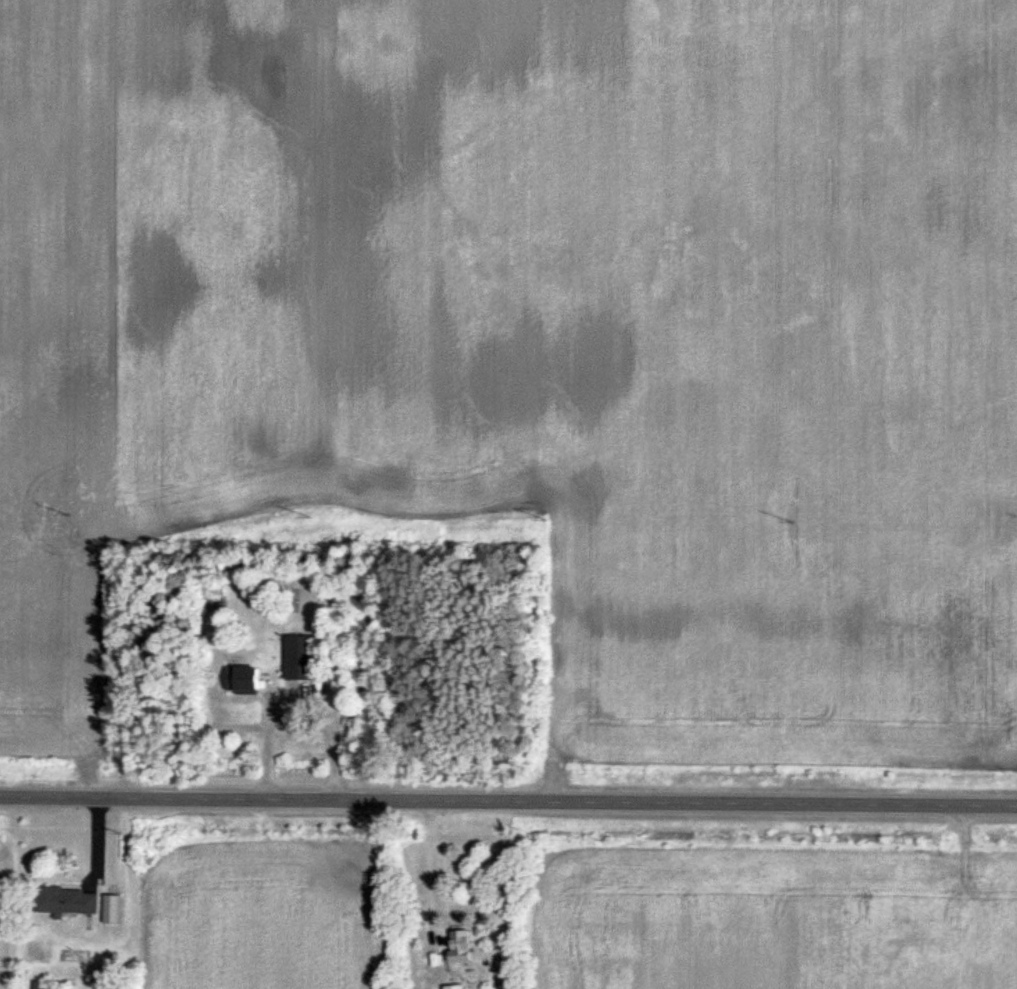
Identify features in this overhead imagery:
building: (299, 657)
building: (241, 679)
road: (249, 738)
road: (508, 799)
road: (412, 867)
building: (66, 900)
building: (459, 946)
building: (453, 986)

